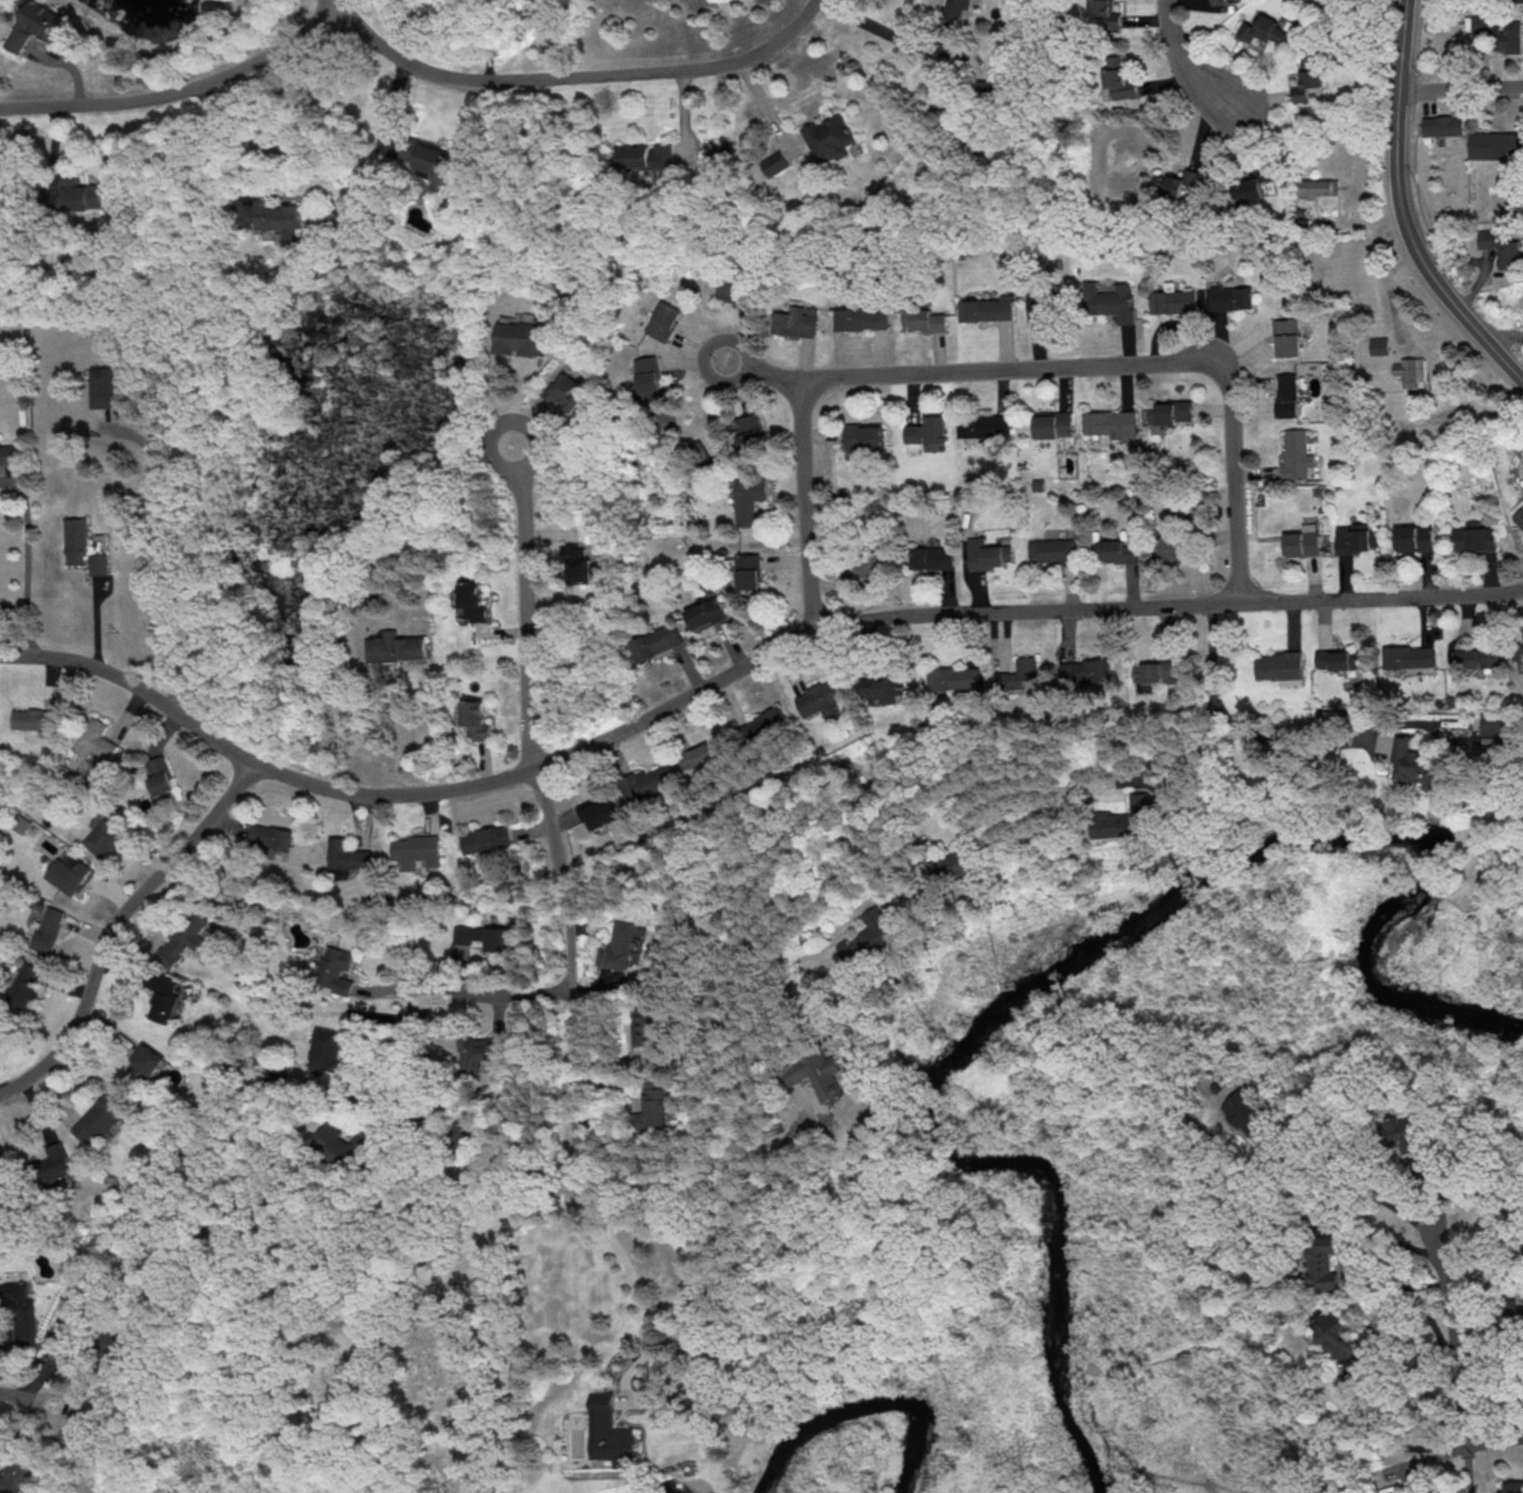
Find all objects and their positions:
building: (1517, 0)
building: (1220, 2)
building: (953, 11)
building: (1107, 12)
building: (38, 25)
building: (1262, 28)
road: (407, 29)
road: (883, 31)
building: (1499, 33)
road: (488, 40)
road: (1194, 75)
road: (573, 78)
building: (1120, 78)
building: (1307, 78)
road: (1461, 90)
road: (180, 91)
road: (763, 105)
building: (1443, 125)
building: (827, 138)
road: (214, 143)
building: (1495, 144)
building: (646, 156)
building: (773, 163)
building: (1175, 182)
building: (1251, 186)
building: (1318, 186)
building: (81, 196)
road: (1401, 212)
building: (276, 217)
building: (1501, 248)
building: (1232, 297)
building: (1109, 300)
building: (1174, 301)
building: (1035, 304)
building: (986, 308)
building: (860, 318)
building: (922, 320)
building: (665, 321)
building: (795, 321)
road: (1502, 335)
building: (1287, 337)
building: (520, 339)
building: (1379, 345)
road: (1008, 370)
building: (1411, 371)
building: (649, 374)
road: (764, 376)
building: (102, 387)
building: (567, 391)
building: (1287, 395)
building: (1169, 411)
building: (1053, 424)
building: (1111, 424)
building: (984, 426)
building: (749, 430)
building: (927, 430)
building: (864, 436)
building: (8, 454)
building: (1296, 455)
building: (748, 499)
building: (1518, 513)
building: (1474, 537)
building: (1355, 538)
building: (1414, 538)
building: (74, 540)
building: (1303, 541)
building: (1169, 549)
building: (1051, 550)
building: (1121, 550)
building: (989, 553)
road: (149, 555)
building: (933, 557)
building: (96, 563)
road: (24, 564)
building: (576, 565)
building: (748, 571)
building: (473, 601)
road: (523, 606)
building: (706, 614)
building: (656, 641)
building: (395, 647)
building: (1519, 651)
road: (1227, 652)
building: (1409, 656)
building: (1475, 658)
building: (1337, 659)
building: (1280, 667)
building: (1085, 670)
road: (737, 671)
building: (1155, 672)
building: (1018, 677)
building: (955, 679)
building: (882, 688)
building: (822, 699)
building: (476, 719)
building: (36, 720)
building: (762, 726)
building: (1490, 727)
road: (403, 734)
building: (95, 739)
road: (1279, 743)
building: (698, 757)
building: (1408, 759)
building: (159, 779)
building: (648, 782)
building: (600, 812)
building: (1122, 819)
building: (270, 837)
building: (104, 838)
building: (485, 839)
building: (415, 851)
building: (346, 855)
building: (957, 862)
building: (68, 876)
road: (116, 924)
building: (48, 929)
building: (183, 938)
building: (869, 938)
building: (615, 947)
river: (1081, 956)
building: (334, 969)
road: (568, 969)
building: (24, 983)
pier: (1056, 994)
road: (433, 995)
building: (161, 996)
road: (108, 1026)
building: (646, 1033)
road: (1134, 1044)
building: (328, 1047)
building: (477, 1052)
building: (143, 1061)
building: (281, 1072)
building: (818, 1075)
building: (654, 1103)
building: (98, 1117)
building: (1249, 1119)
building: (1404, 1134)
building: (342, 1144)
building: (53, 1162)
building: (3, 1189)
road: (1356, 1190)
road: (1137, 1235)
road: (1350, 1257)
building: (1322, 1263)
road: (628, 1270)
building: (19, 1308)
building: (1515, 1313)
road: (1453, 1332)
building: (1336, 1336)
road: (1179, 1354)
road: (1359, 1367)
road: (25, 1397)
river: (862, 1406)
building: (74, 1424)
building: (609, 1432)
road: (1492, 1442)
building: (0, 1461)
road: (1468, 1469)
pier: (1131, 1472)
building: (16, 1477)
road: (1198, 1480)
building: (1513, 1486)
building: (1397, 1491)
river: (655, 1492)

